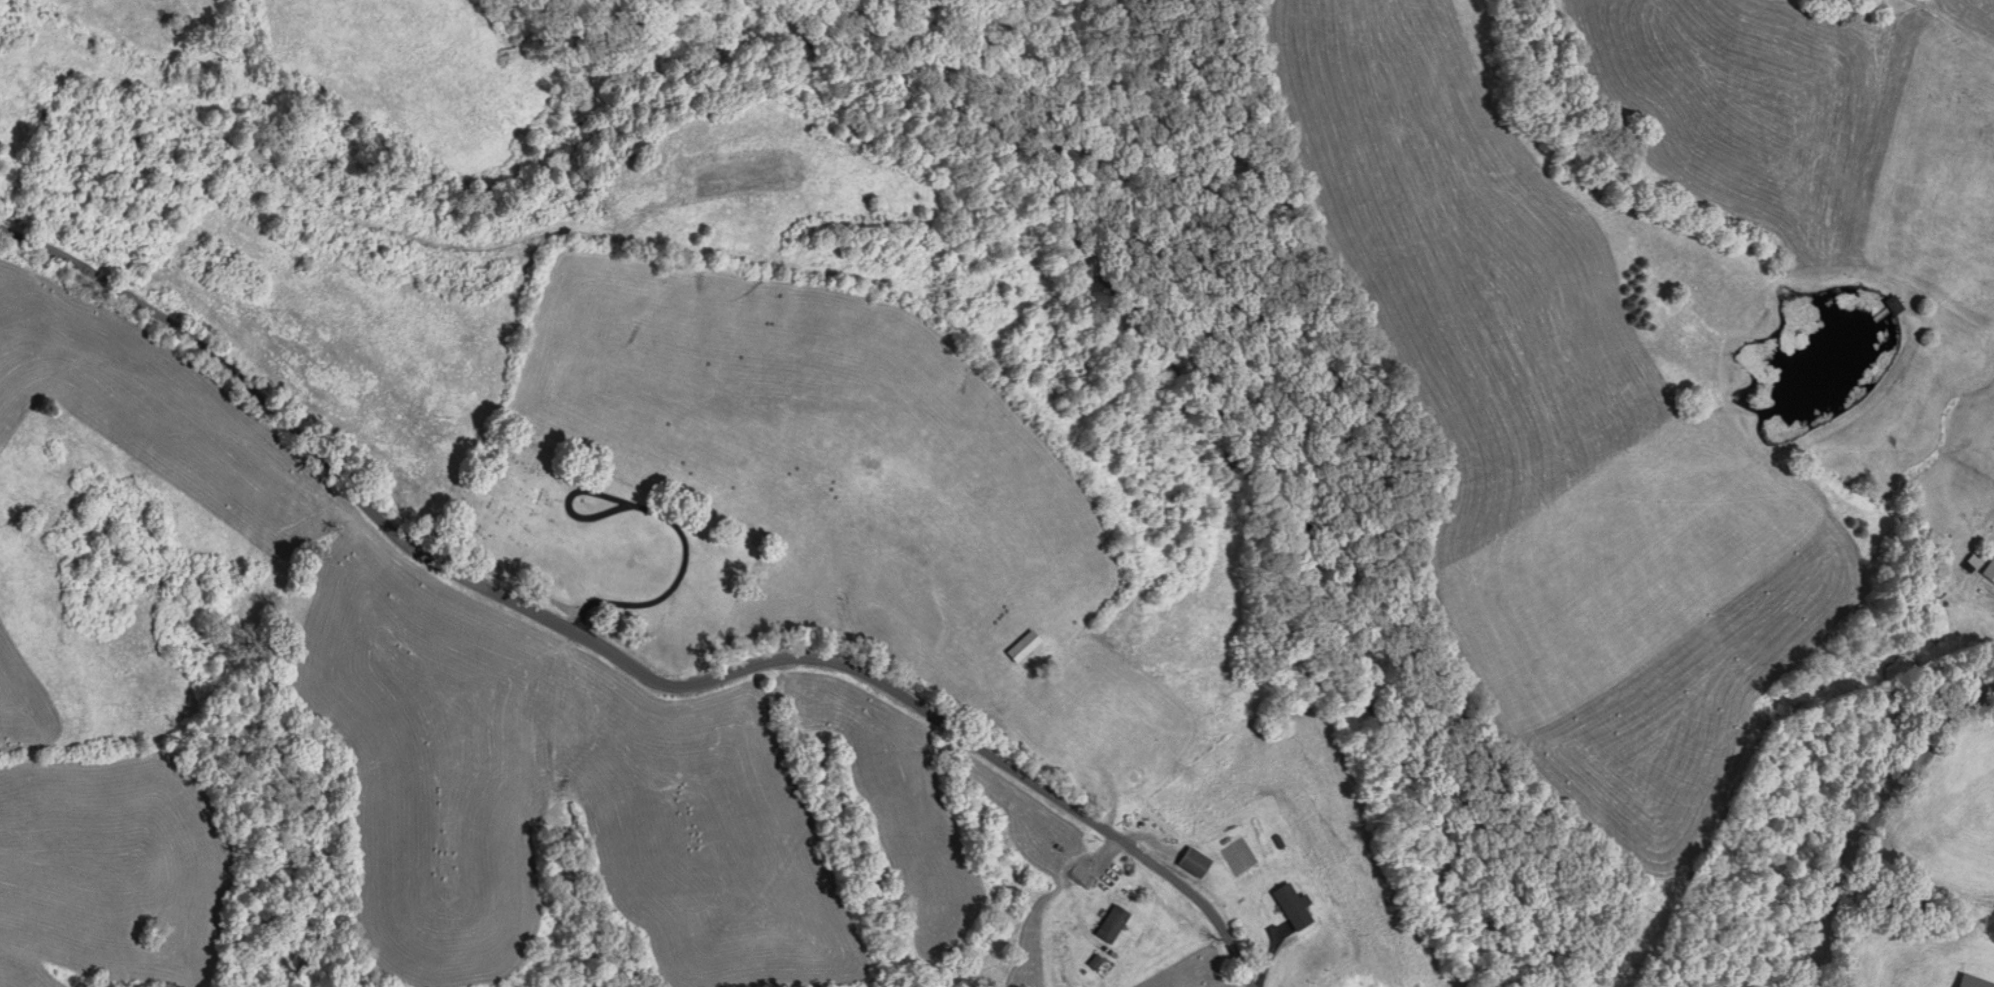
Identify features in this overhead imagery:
building: (1894, 306)
road: (672, 524)
road: (622, 656)
road: (1864, 813)
building: (1193, 864)
building: (1292, 908)
building: (1111, 926)

